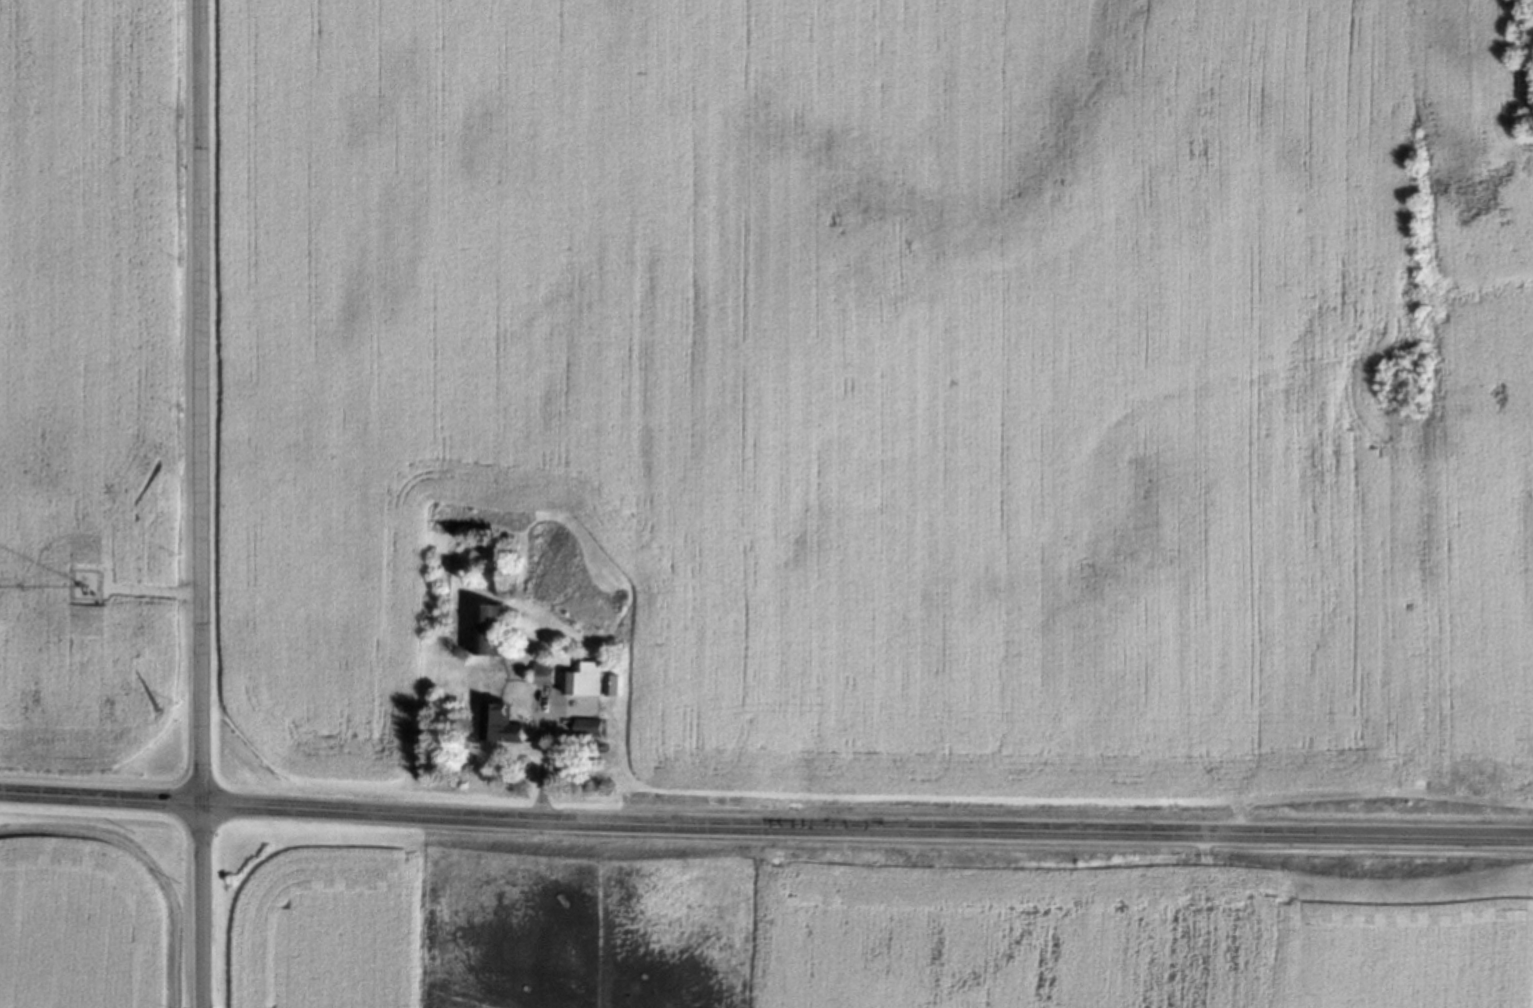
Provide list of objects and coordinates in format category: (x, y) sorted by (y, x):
road: (202, 504)
building: (489, 630)
building: (543, 674)
building: (582, 680)
building: (610, 687)
building: (494, 727)
building: (587, 729)
road: (766, 829)

